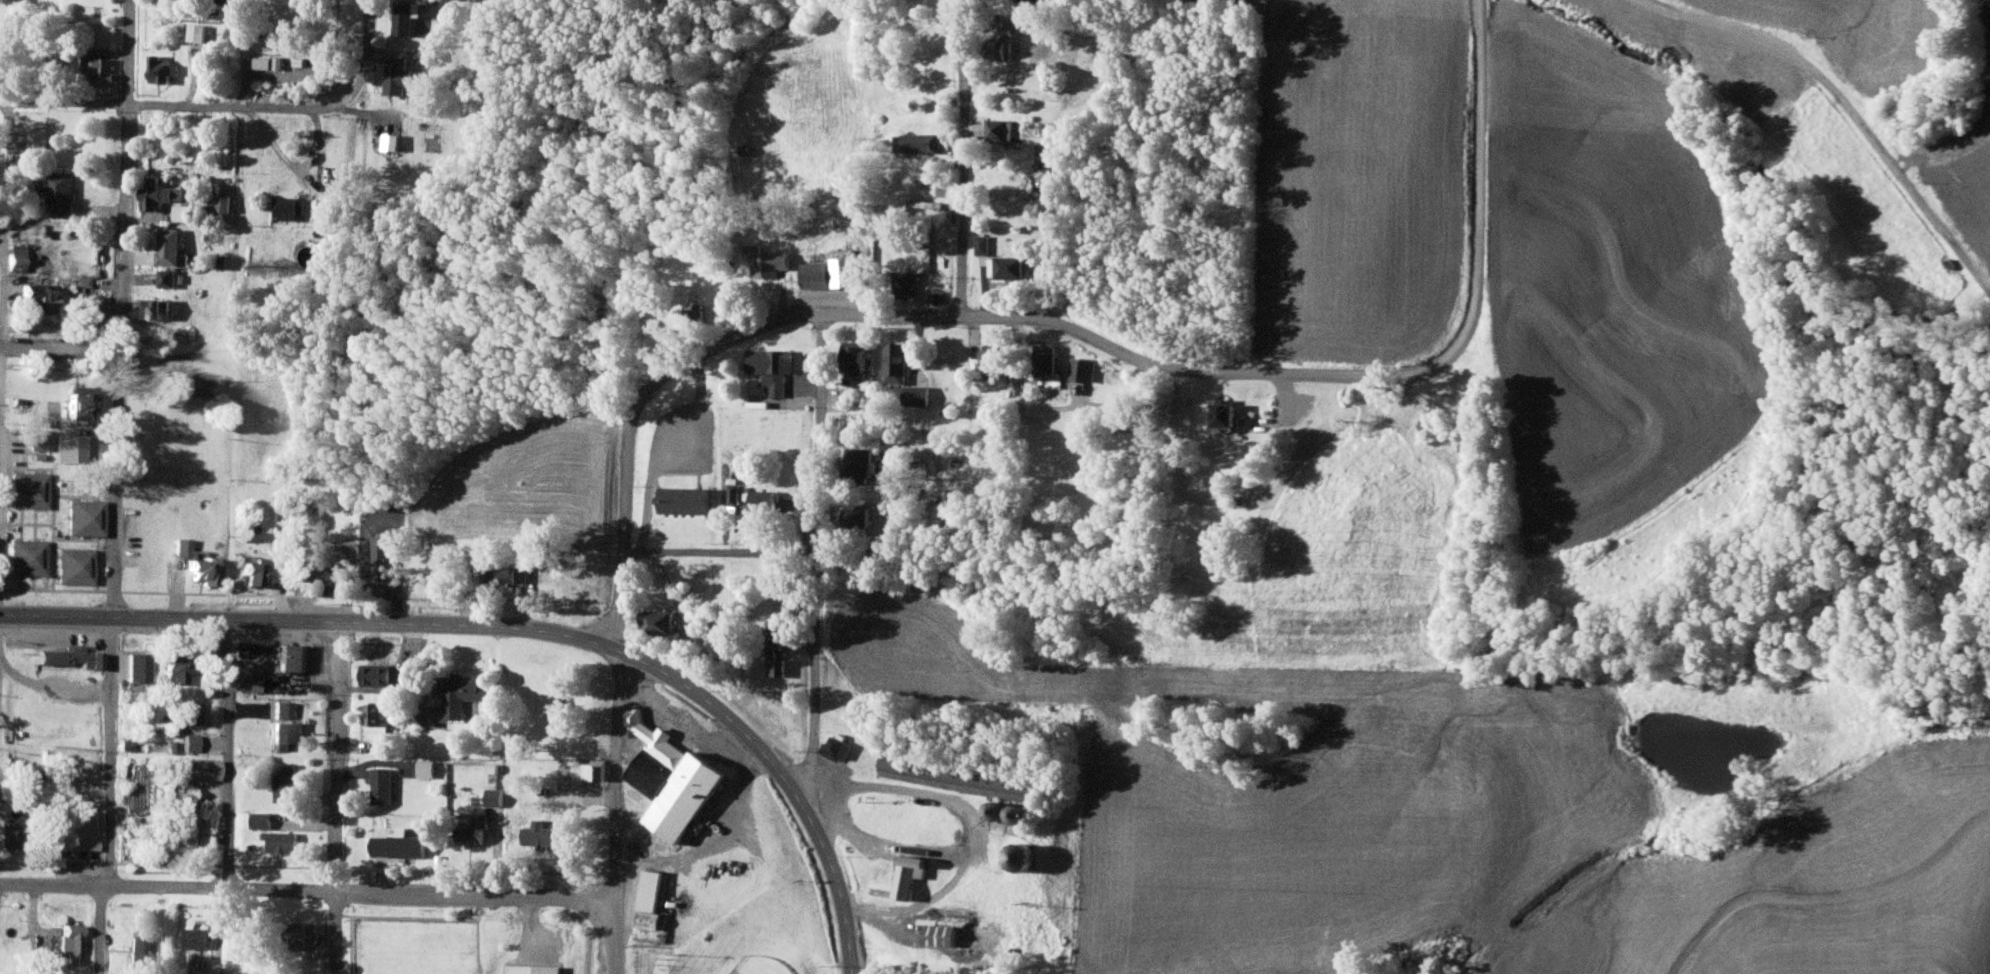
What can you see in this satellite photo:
building: (228, 1)
building: (408, 15)
building: (197, 31)
building: (1001, 42)
road: (248, 55)
road: (367, 56)
building: (268, 62)
building: (163, 67)
building: (102, 68)
building: (401, 74)
road: (168, 102)
road: (1843, 112)
road: (364, 113)
building: (1001, 130)
building: (37, 136)
building: (391, 140)
building: (919, 141)
road: (963, 156)
road: (1478, 162)
road: (293, 165)
building: (59, 190)
building: (158, 192)
building: (225, 202)
building: (922, 202)
building: (294, 207)
building: (182, 211)
building: (982, 243)
building: (171, 245)
building: (18, 256)
building: (768, 263)
building: (1010, 266)
building: (831, 272)
road: (5, 273)
building: (168, 277)
building: (905, 283)
building: (40, 296)
building: (94, 307)
road: (122, 307)
building: (154, 308)
building: (692, 318)
road: (1096, 340)
road: (60, 342)
building: (856, 357)
building: (991, 360)
building: (1047, 361)
building: (896, 362)
building: (773, 368)
building: (1083, 369)
building: (204, 384)
building: (918, 395)
building: (82, 401)
road: (1288, 405)
road: (1055, 406)
building: (1228, 414)
building: (40, 439)
building: (71, 448)
road: (666, 452)
building: (862, 463)
road: (625, 476)
building: (30, 489)
building: (733, 494)
building: (1237, 495)
building: (765, 499)
building: (686, 500)
building: (86, 516)
building: (858, 516)
road: (720, 548)
road: (819, 554)
building: (29, 556)
building: (199, 563)
building: (382, 564)
building: (76, 565)
road: (3, 566)
building: (254, 570)
building: (151, 574)
building: (506, 574)
road: (426, 622)
building: (660, 623)
building: (778, 655)
building: (73, 657)
building: (296, 657)
building: (177, 666)
building: (138, 667)
building: (377, 675)
road: (393, 681)
road: (50, 687)
building: (461, 695)
building: (284, 709)
building: (376, 715)
building: (288, 734)
building: (191, 741)
building: (838, 747)
road: (110, 750)
road: (227, 751)
building: (16, 766)
building: (430, 769)
building: (963, 777)
building: (673, 779)
building: (286, 783)
building: (382, 786)
road: (333, 796)
building: (493, 797)
road: (623, 811)
building: (1013, 812)
building: (908, 819)
building: (262, 820)
road: (965, 823)
building: (472, 829)
building: (187, 831)
building: (12, 834)
building: (85, 835)
building: (540, 835)
road: (723, 838)
building: (284, 843)
building: (398, 846)
road: (826, 861)
building: (911, 874)
road: (312, 889)
building: (653, 899)
road: (100, 929)
road: (219, 929)
building: (941, 931)
building: (307, 937)
building: (197, 938)
building: (71, 942)
building: (141, 950)
road: (850, 954)
building: (534, 969)

